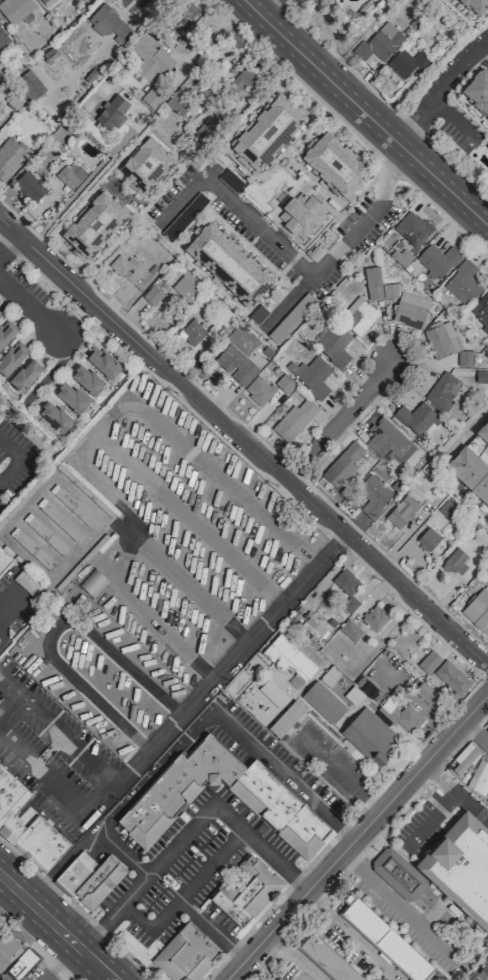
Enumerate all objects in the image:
building: (46, 2)
road: (265, 5)
building: (476, 7)
building: (17, 10)
building: (182, 14)
building: (108, 23)
building: (3, 37)
building: (236, 41)
building: (379, 44)
building: (152, 59)
building: (407, 62)
building: (239, 81)
building: (30, 85)
road: (442, 89)
building: (477, 91)
building: (151, 98)
building: (14, 100)
building: (182, 100)
road: (368, 112)
building: (111, 113)
building: (211, 124)
building: (268, 134)
building: (10, 158)
building: (146, 165)
building: (335, 165)
building: (68, 177)
building: (30, 186)
road: (79, 188)
building: (300, 215)
building: (94, 224)
building: (413, 229)
road: (9, 244)
building: (437, 261)
building: (121, 264)
building: (227, 265)
road: (294, 266)
building: (463, 282)
building: (185, 287)
building: (153, 296)
building: (382, 297)
road: (30, 309)
building: (481, 311)
building: (359, 316)
building: (5, 333)
building: (191, 333)
building: (447, 343)
building: (334, 345)
building: (12, 358)
building: (103, 362)
building: (235, 365)
building: (26, 375)
building: (481, 375)
building: (314, 376)
building: (87, 379)
building: (284, 384)
road: (169, 390)
building: (258, 390)
building: (444, 390)
building: (71, 397)
building: (55, 417)
building: (295, 419)
building: (417, 419)
road: (342, 424)
building: (483, 432)
road: (243, 441)
building: (388, 441)
road: (11, 448)
building: (344, 464)
road: (11, 471)
building: (470, 472)
building: (374, 495)
building: (72, 505)
building: (447, 509)
building: (402, 512)
building: (58, 519)
building: (45, 534)
building: (427, 539)
building: (32, 549)
building: (4, 559)
building: (453, 561)
building: (93, 582)
road: (188, 588)
building: (346, 589)
building: (478, 611)
road: (144, 615)
building: (374, 618)
building: (349, 630)
building: (288, 657)
building: (428, 662)
building: (451, 677)
building: (427, 695)
building: (322, 702)
building: (1, 708)
building: (350, 708)
road: (177, 716)
building: (400, 716)
building: (287, 719)
building: (487, 728)
road: (475, 733)
building: (369, 734)
building: (463, 760)
road: (280, 763)
road: (340, 771)
building: (479, 777)
road: (56, 790)
road: (455, 791)
building: (269, 801)
building: (487, 804)
road: (203, 815)
building: (27, 826)
road: (357, 837)
parking lot: (196, 857)
building: (461, 867)
building: (399, 874)
building: (90, 878)
road: (199, 880)
road: (303, 880)
building: (248, 891)
road: (397, 906)
road: (76, 909)
road: (137, 916)
road: (100, 925)
road: (56, 927)
road: (250, 928)
road: (212, 929)
road: (349, 939)
building: (385, 939)
road: (36, 946)
building: (9, 948)
building: (186, 954)
road: (295, 956)
building: (328, 959)
building: (24, 967)
road: (482, 974)

